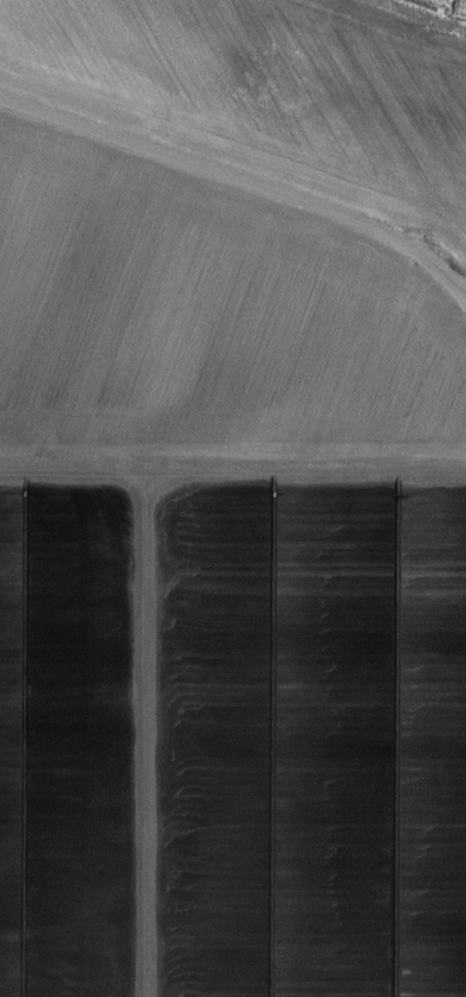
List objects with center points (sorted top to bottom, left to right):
road: (245, 187)
road: (461, 290)

